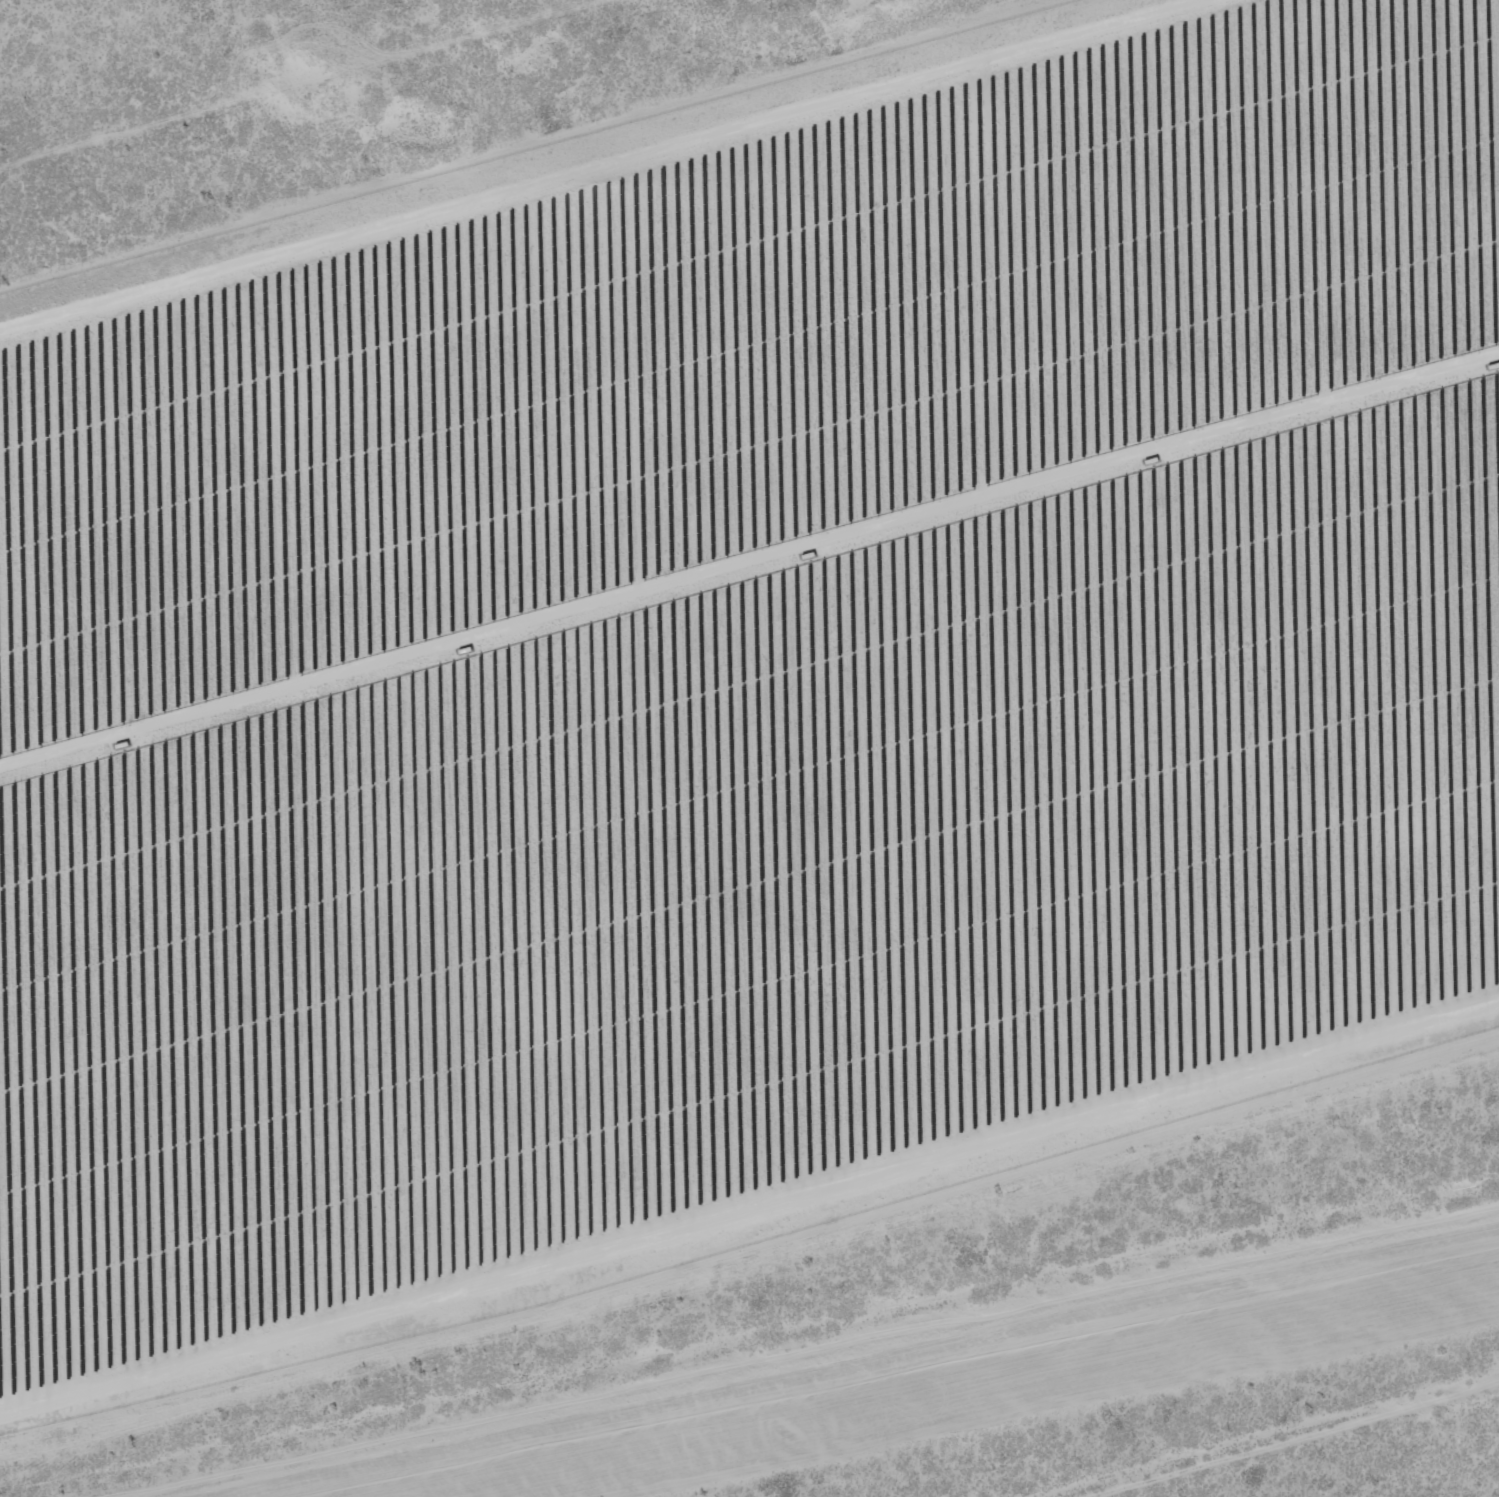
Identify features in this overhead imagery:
solar farm: (739, 664)

